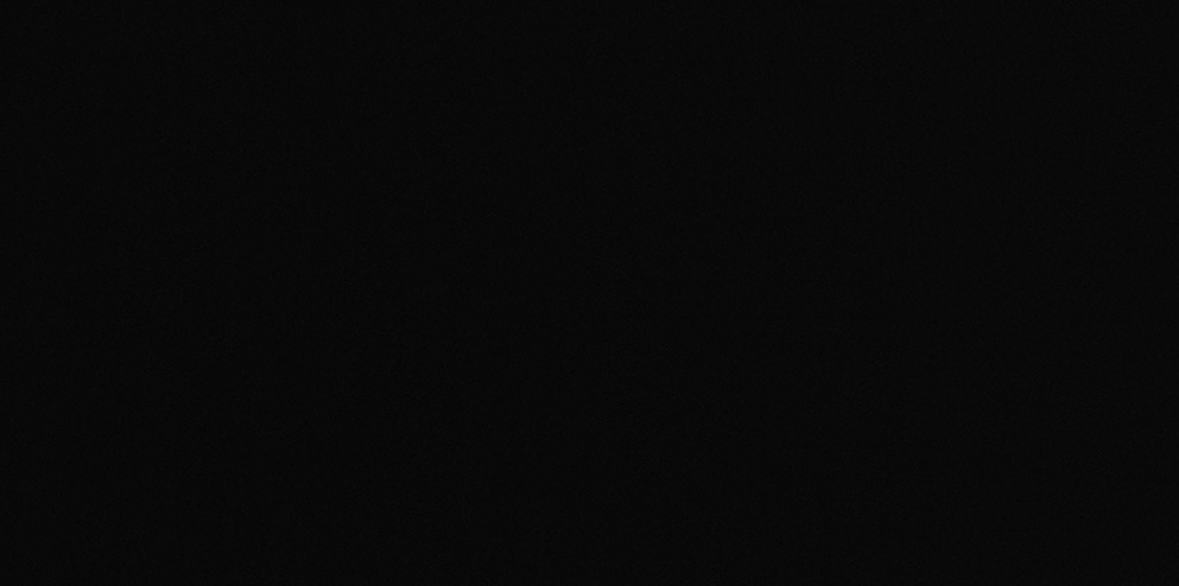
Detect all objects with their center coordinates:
wastewater plant: (589, 293)

